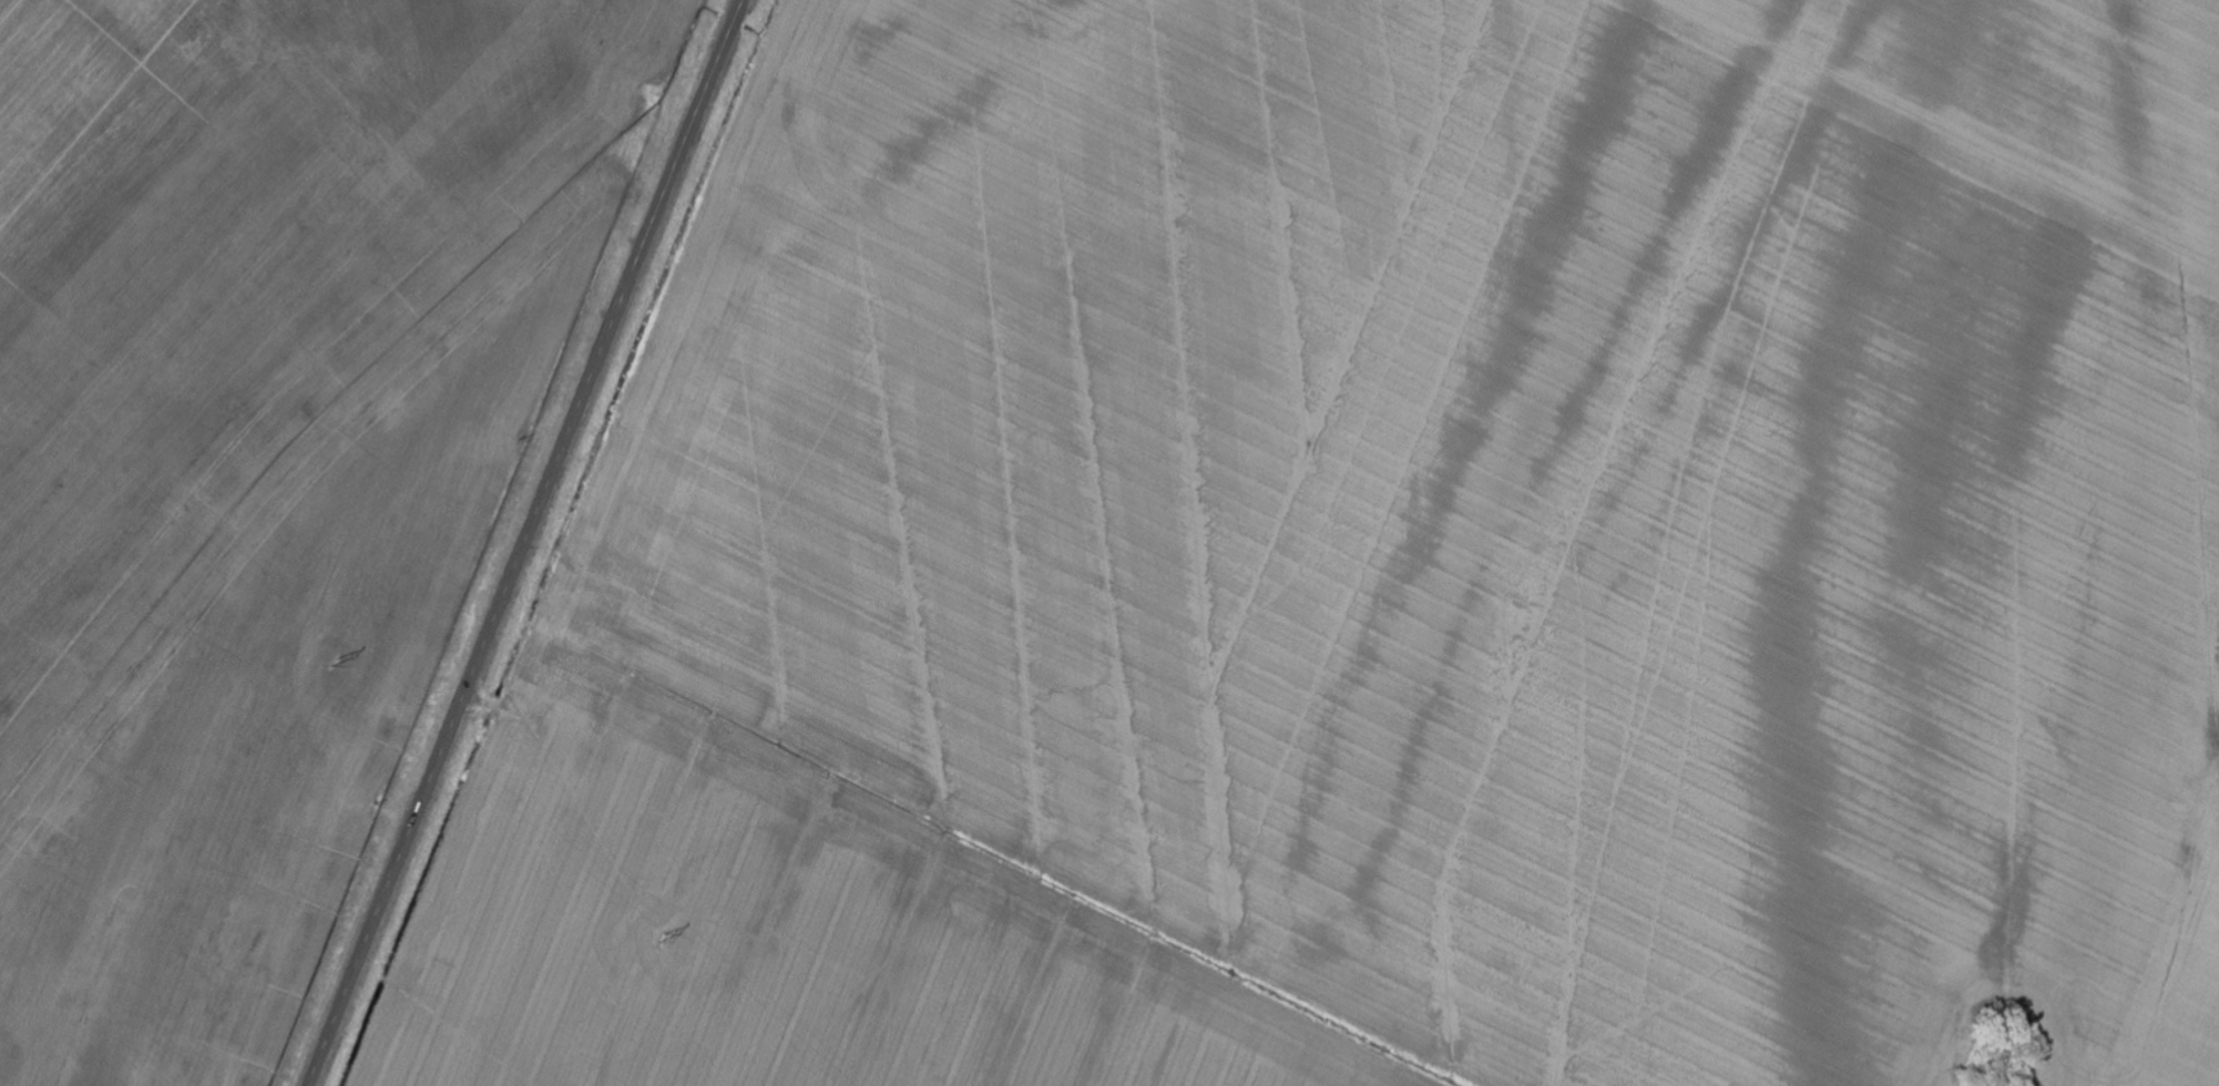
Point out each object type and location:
road: (525, 542)

